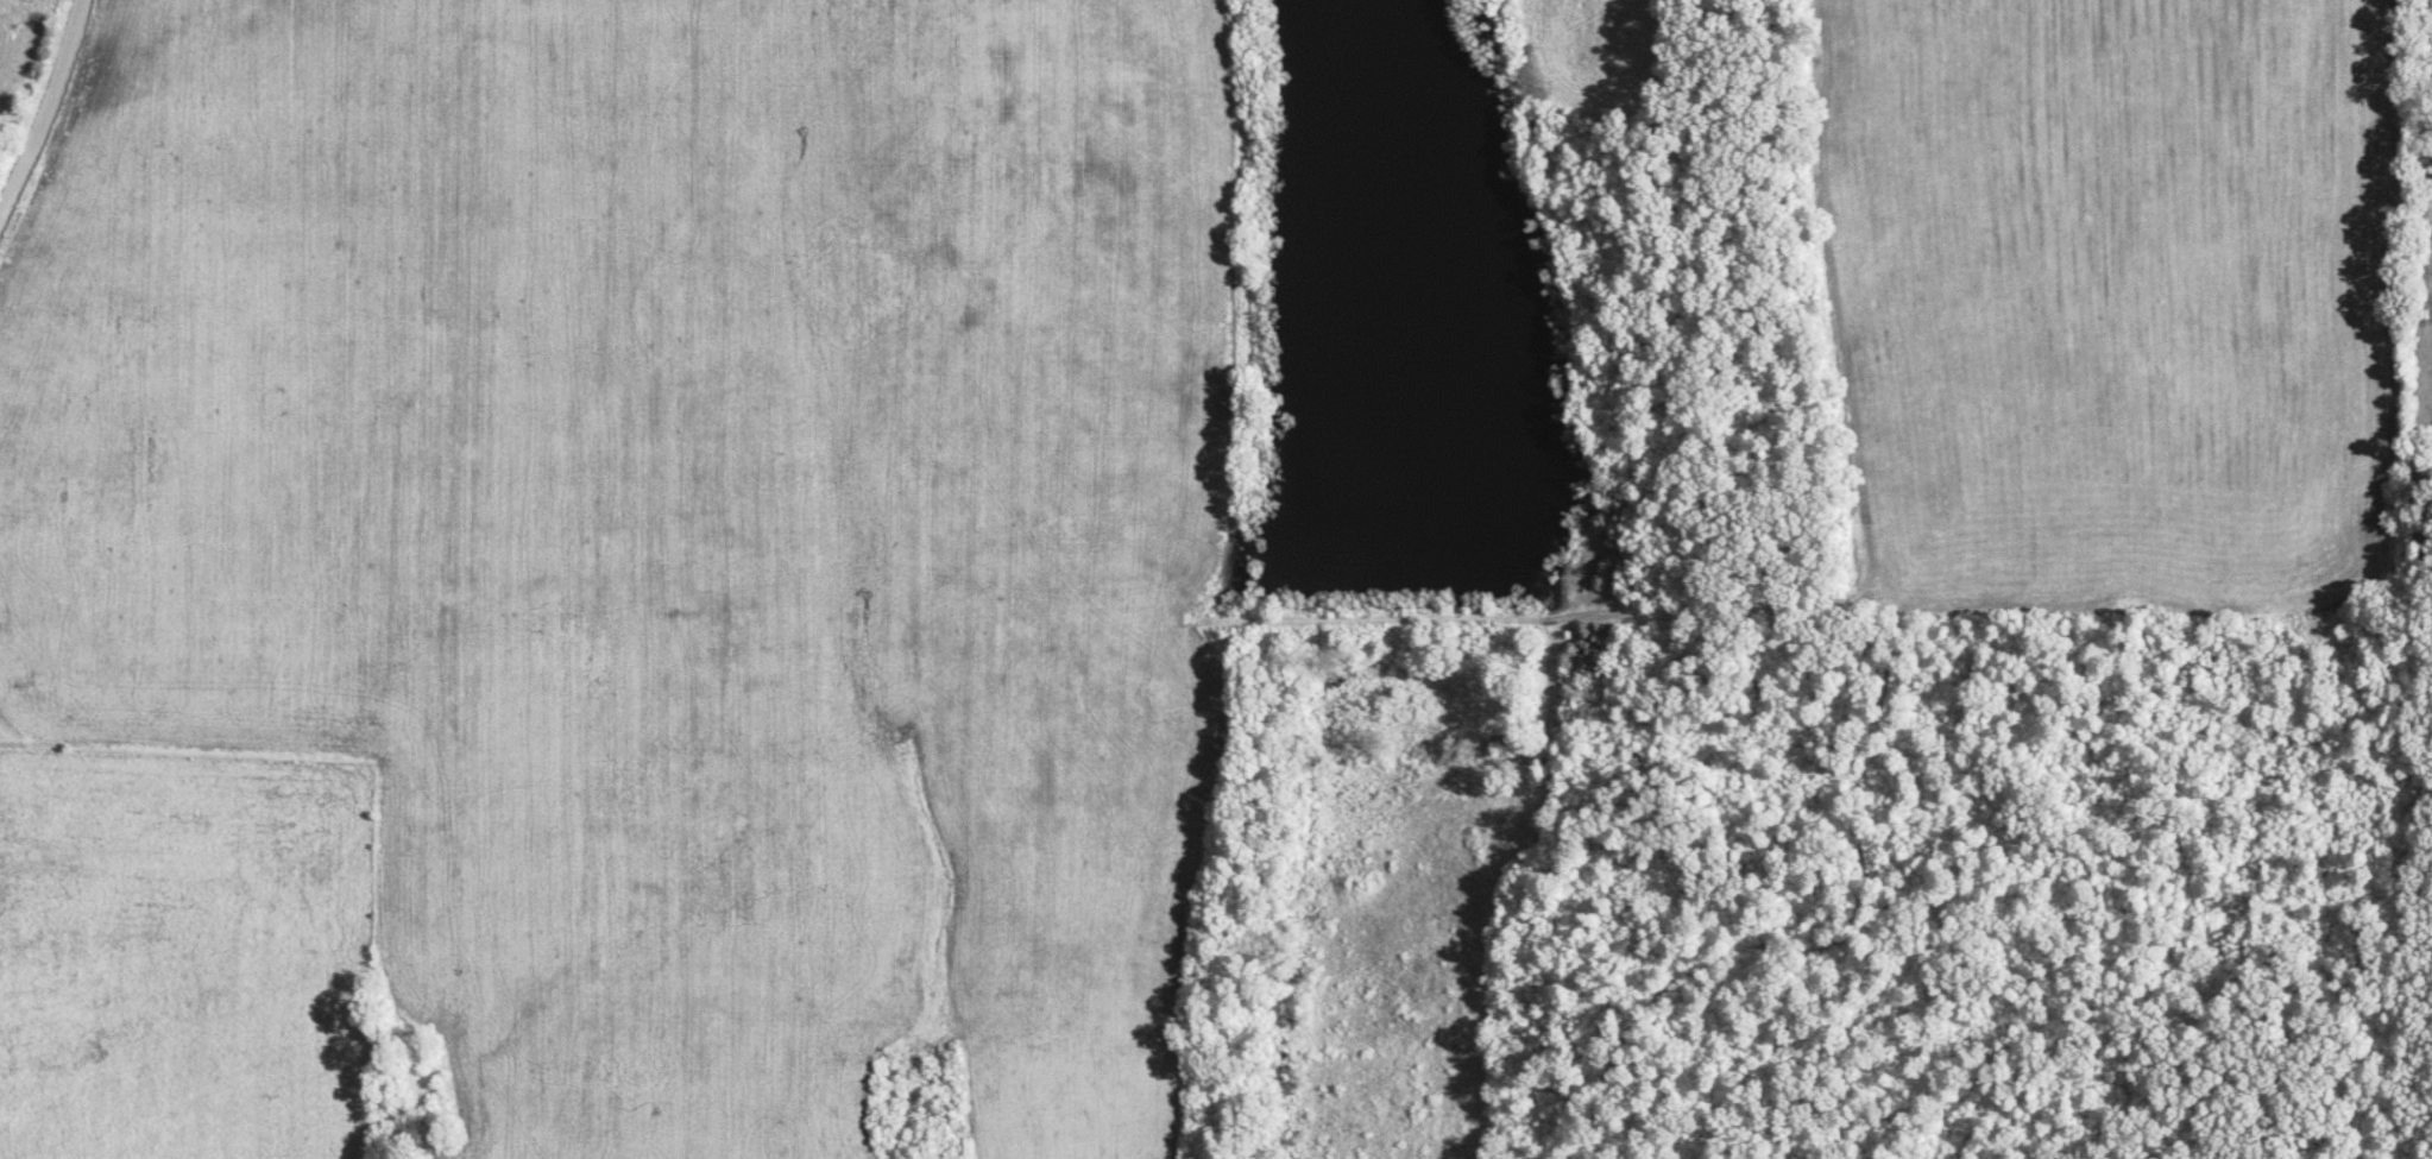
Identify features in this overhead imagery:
building: (2427, 24)
road: (42, 99)

